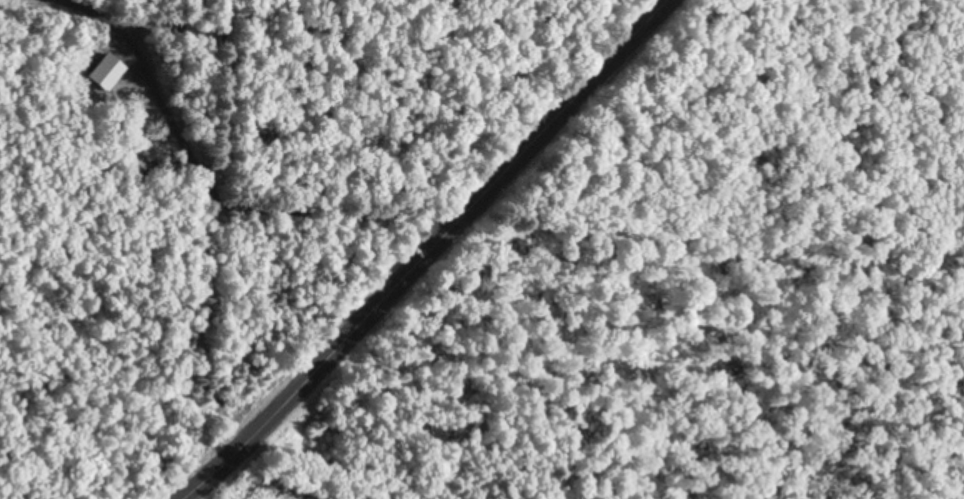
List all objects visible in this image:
road: (229, 212)
road: (437, 253)

